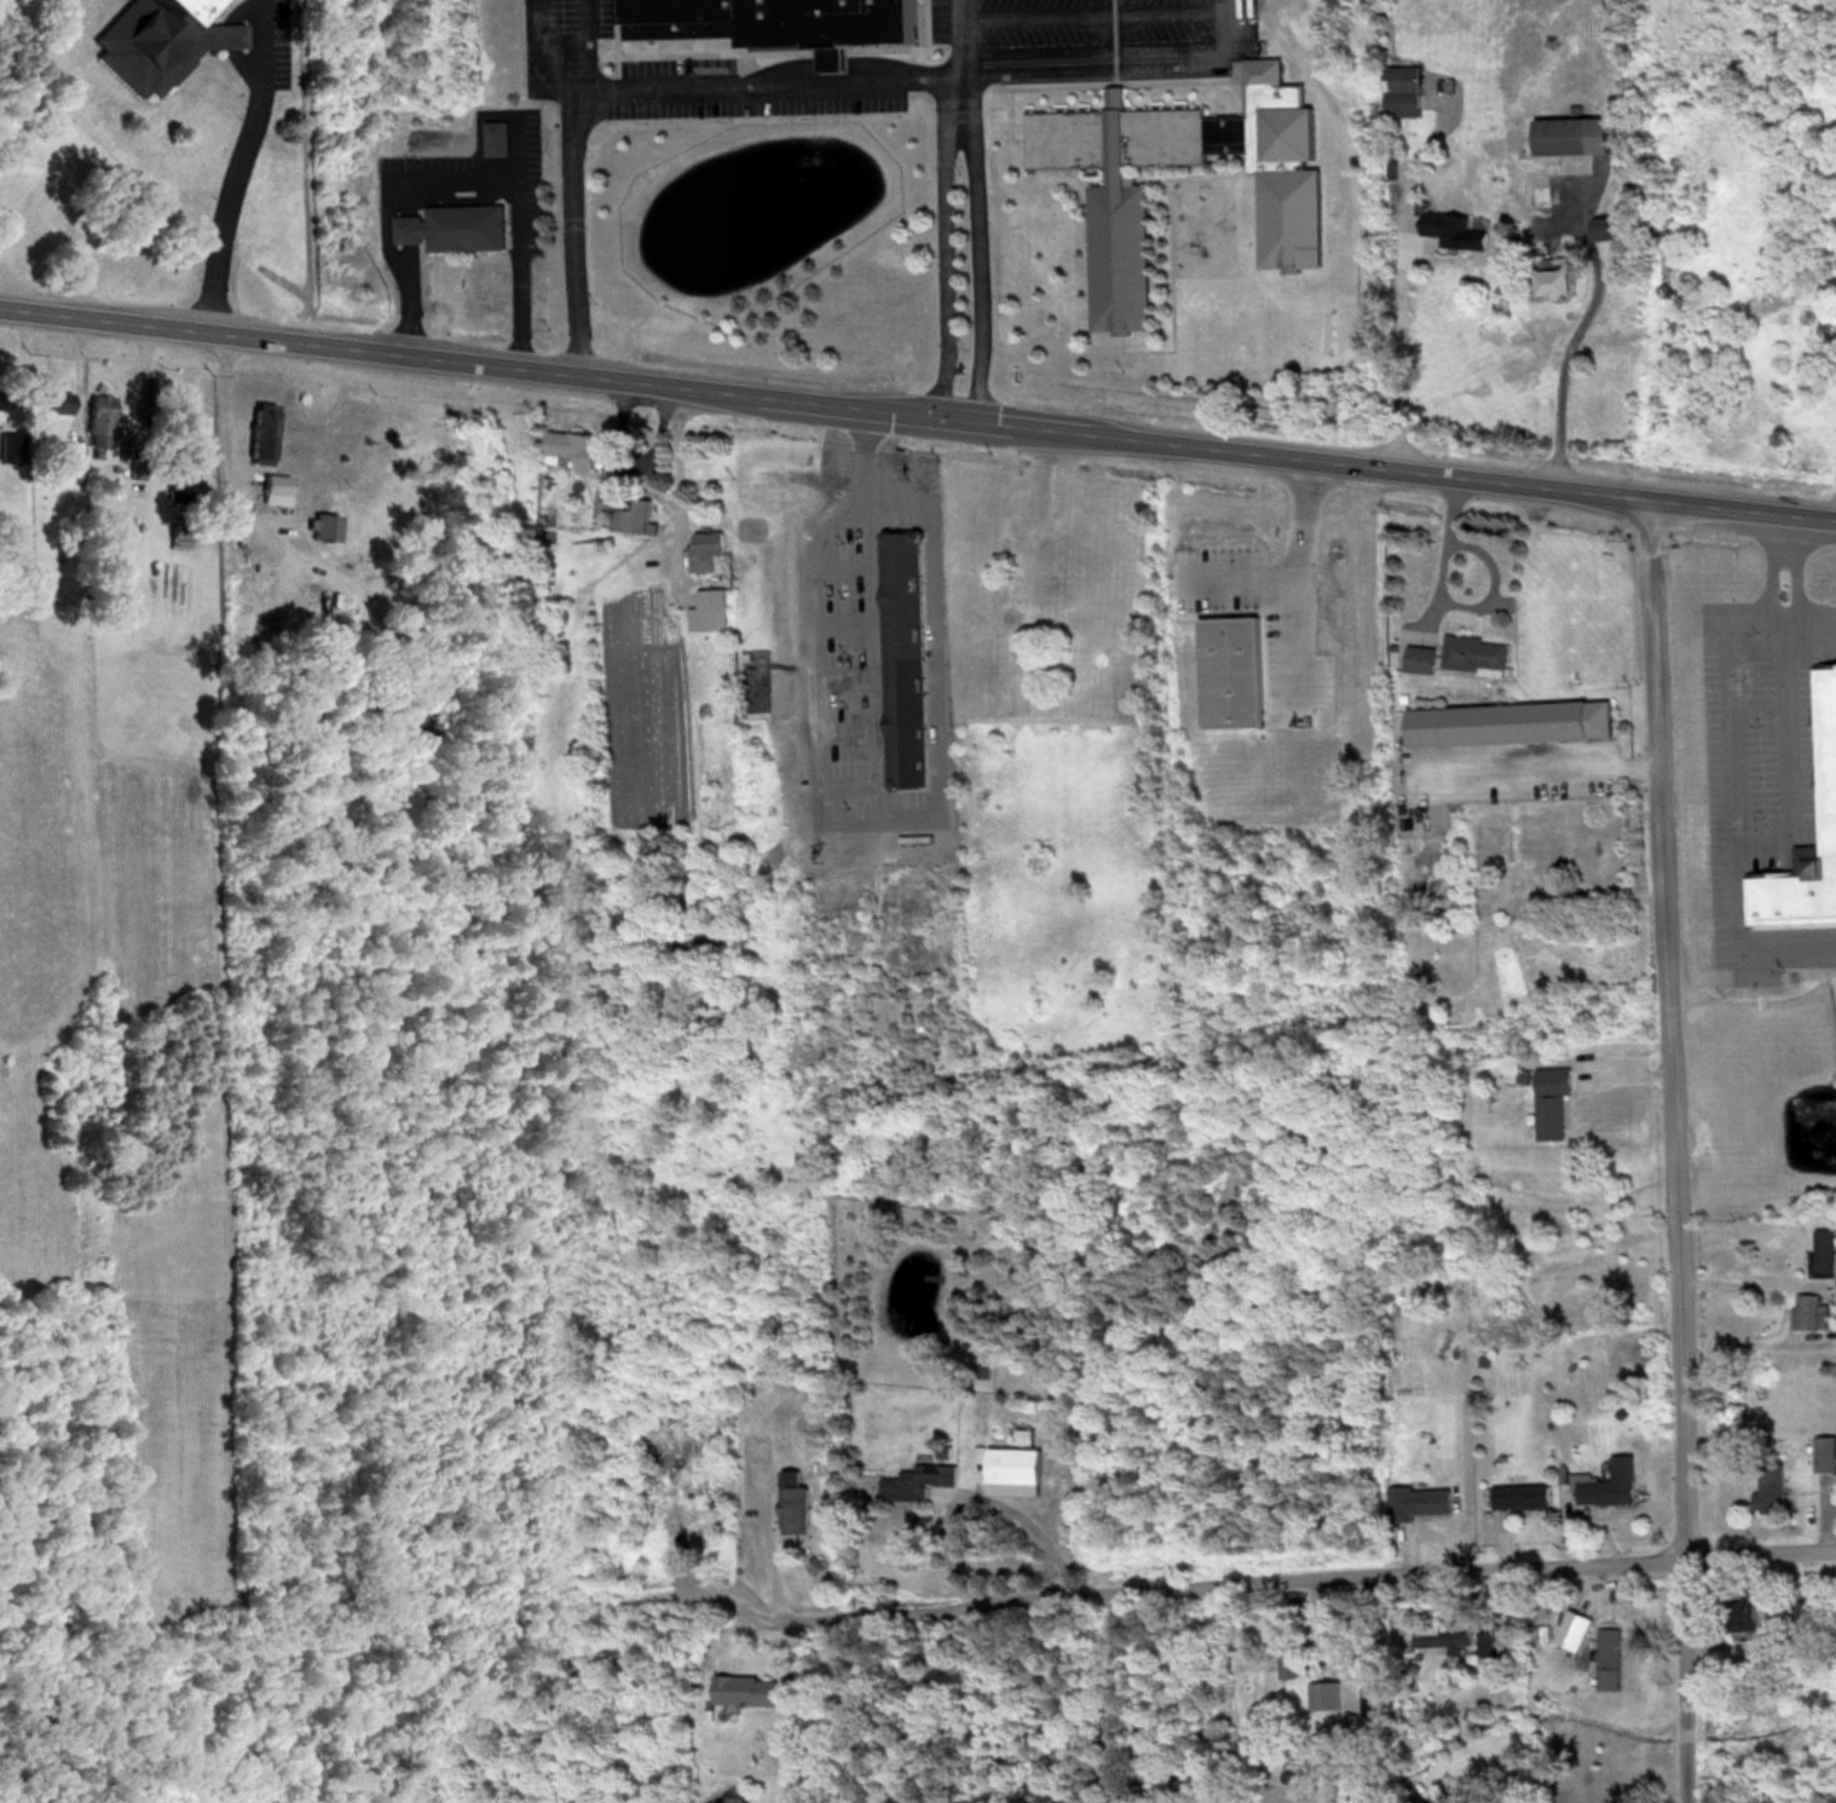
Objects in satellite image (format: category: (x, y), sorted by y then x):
building: (778, 21)
building: (156, 40)
road: (1125, 58)
road: (957, 75)
road: (659, 82)
road: (560, 83)
building: (1399, 91)
building: (495, 138)
road: (239, 166)
road: (456, 178)
building: (1288, 226)
building: (452, 227)
building: (1444, 227)
building: (1605, 227)
building: (1553, 282)
road: (1399, 356)
road: (1563, 368)
building: (2, 399)
building: (53, 401)
road: (918, 414)
building: (97, 420)
building: (258, 430)
road: (221, 434)
building: (571, 446)
building: (267, 489)
road: (679, 492)
building: (624, 510)
building: (1064, 524)
building: (319, 526)
building: (746, 528)
building: (524, 537)
building: (1018, 547)
building: (704, 549)
road: (1437, 557)
road: (1292, 580)
road: (1485, 588)
road: (1769, 602)
building: (711, 608)
building: (1472, 654)
building: (1418, 658)
building: (902, 721)
building: (1506, 722)
building: (1825, 755)
road: (1537, 765)
road: (1730, 781)
road: (845, 844)
building: (642, 971)
building: (1552, 1100)
road: (1669, 1149)
building: (1823, 1252)
building: (1808, 1312)
building: (1824, 1452)
building: (1009, 1464)
building: (916, 1480)
building: (1611, 1483)
building: (1768, 1487)
building: (1519, 1495)
building: (1418, 1501)
building: (792, 1507)
road: (1034, 1537)
road: (744, 1571)
road: (1316, 1583)
building: (1737, 1610)
building: (1802, 1614)
building: (1439, 1636)
building: (1284, 1653)
building: (1605, 1657)
building: (744, 1688)
building: (1327, 1689)
building: (1370, 1699)

